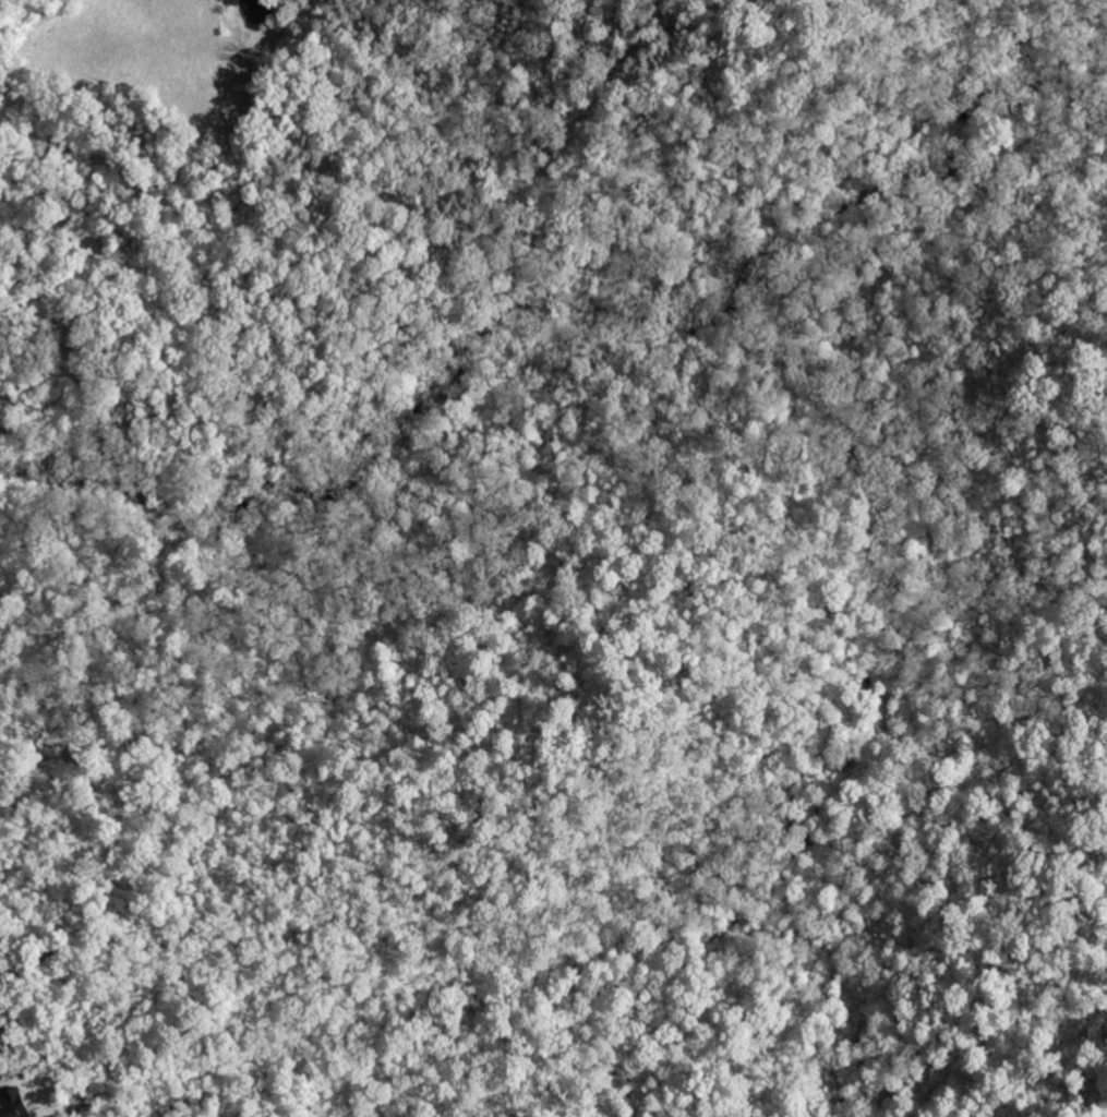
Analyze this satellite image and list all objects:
building: (19, 1105)

